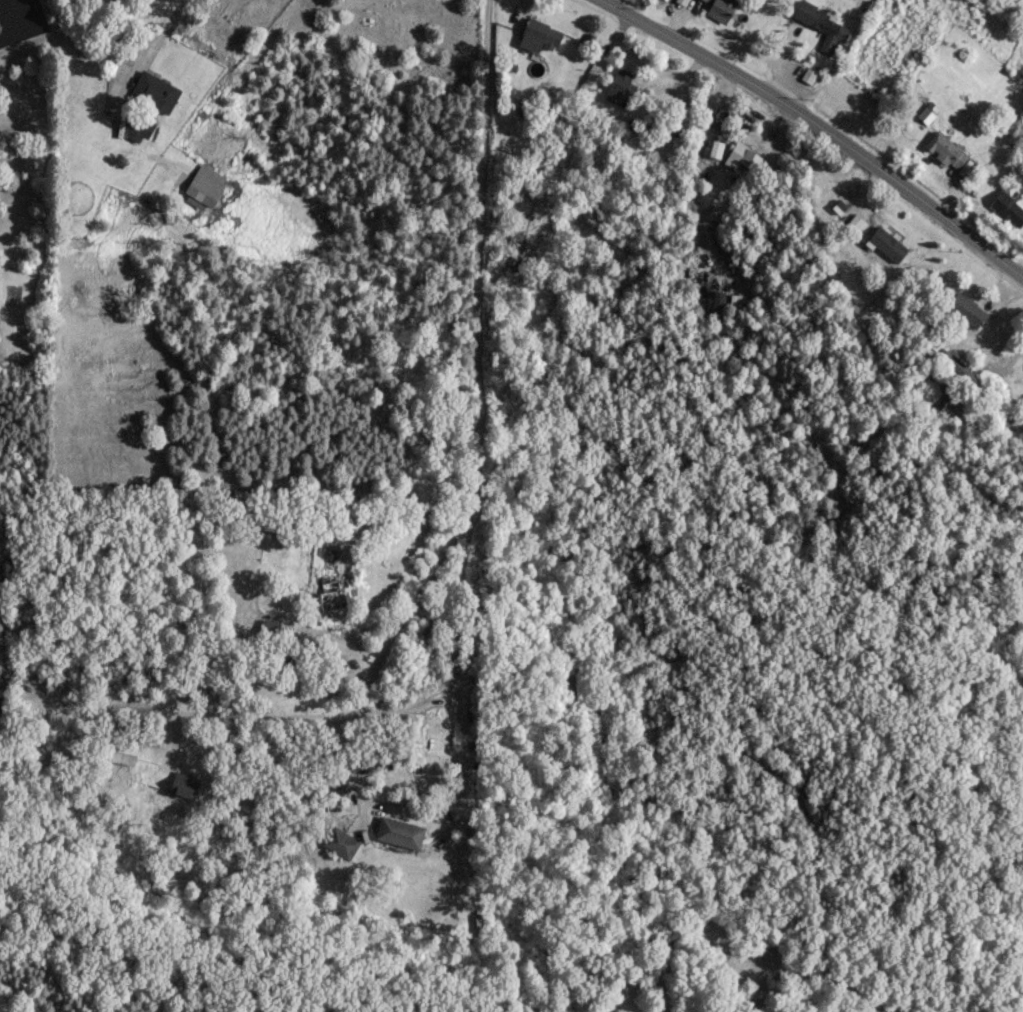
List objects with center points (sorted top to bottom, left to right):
building: (705, 0)
building: (720, 9)
road: (21, 16)
building: (822, 25)
road: (164, 29)
building: (540, 32)
building: (621, 88)
building: (153, 92)
building: (925, 113)
road: (710, 116)
building: (137, 126)
road: (821, 126)
building: (945, 149)
building: (744, 155)
building: (203, 186)
road: (602, 191)
building: (1007, 208)
building: (886, 242)
building: (514, 248)
building: (965, 308)
road: (544, 397)
road: (473, 420)
building: (328, 596)
building: (269, 627)
road: (456, 653)
road: (171, 711)
building: (121, 751)
road: (465, 766)
building: (182, 785)
building: (399, 830)
building: (339, 841)

